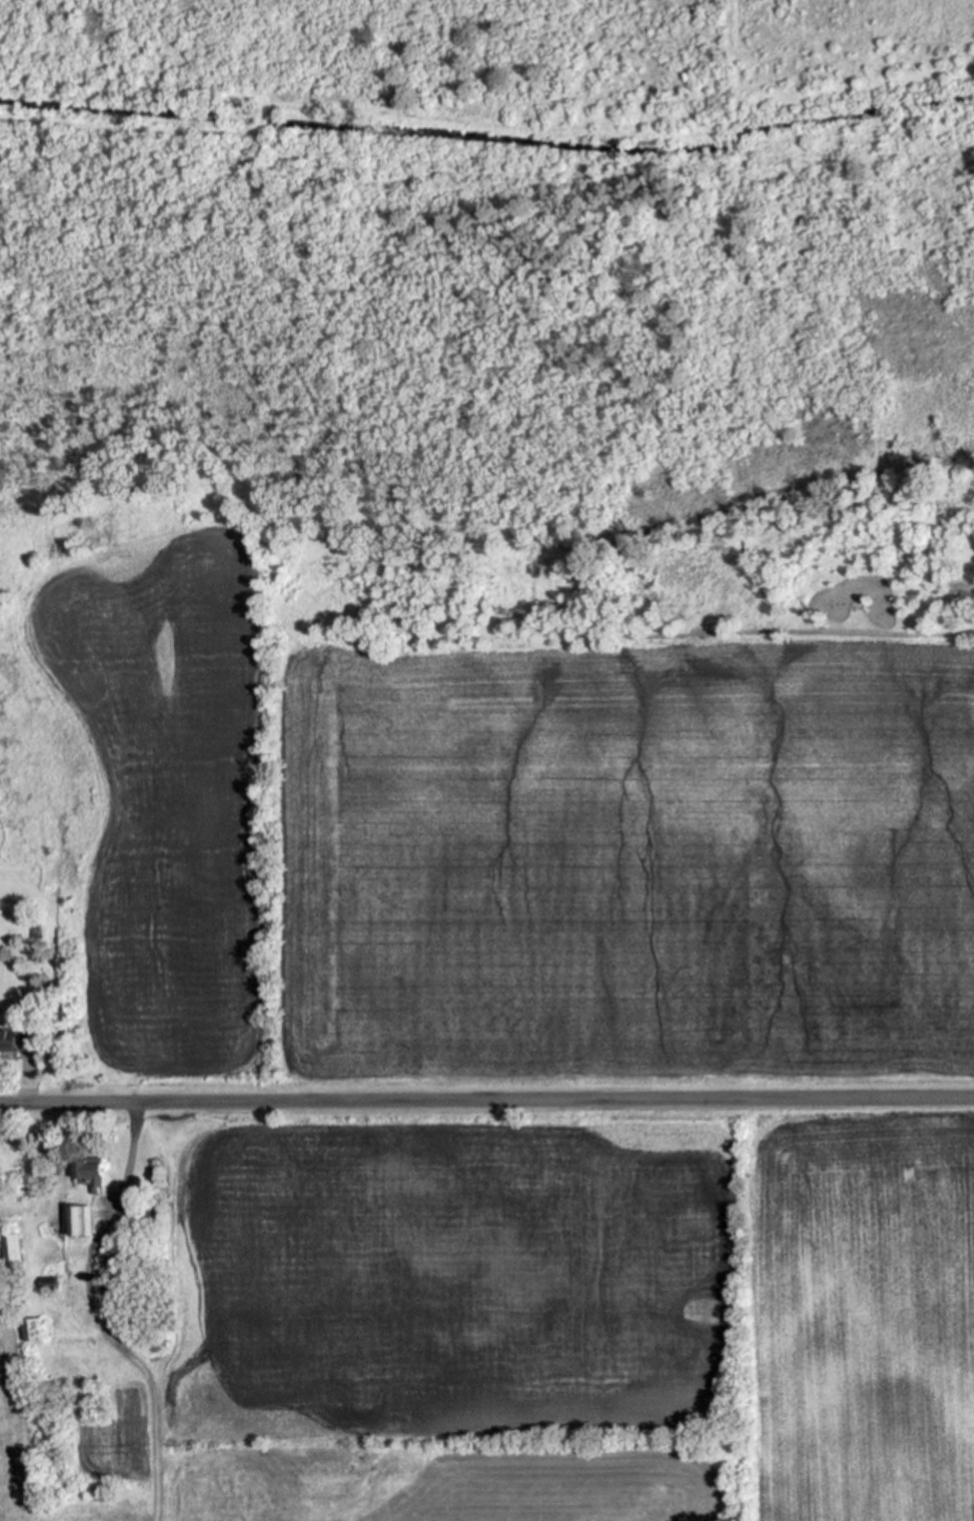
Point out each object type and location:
building: (685, 77)
building: (611, 150)
building: (41, 1010)
building: (17, 1040)
road: (486, 1102)
building: (89, 1173)
building: (140, 1208)
building: (141, 1221)
building: (79, 1222)
building: (141, 1230)
building: (147, 1236)
building: (12, 1257)
building: (103, 1281)
building: (46, 1284)
building: (35, 1331)

